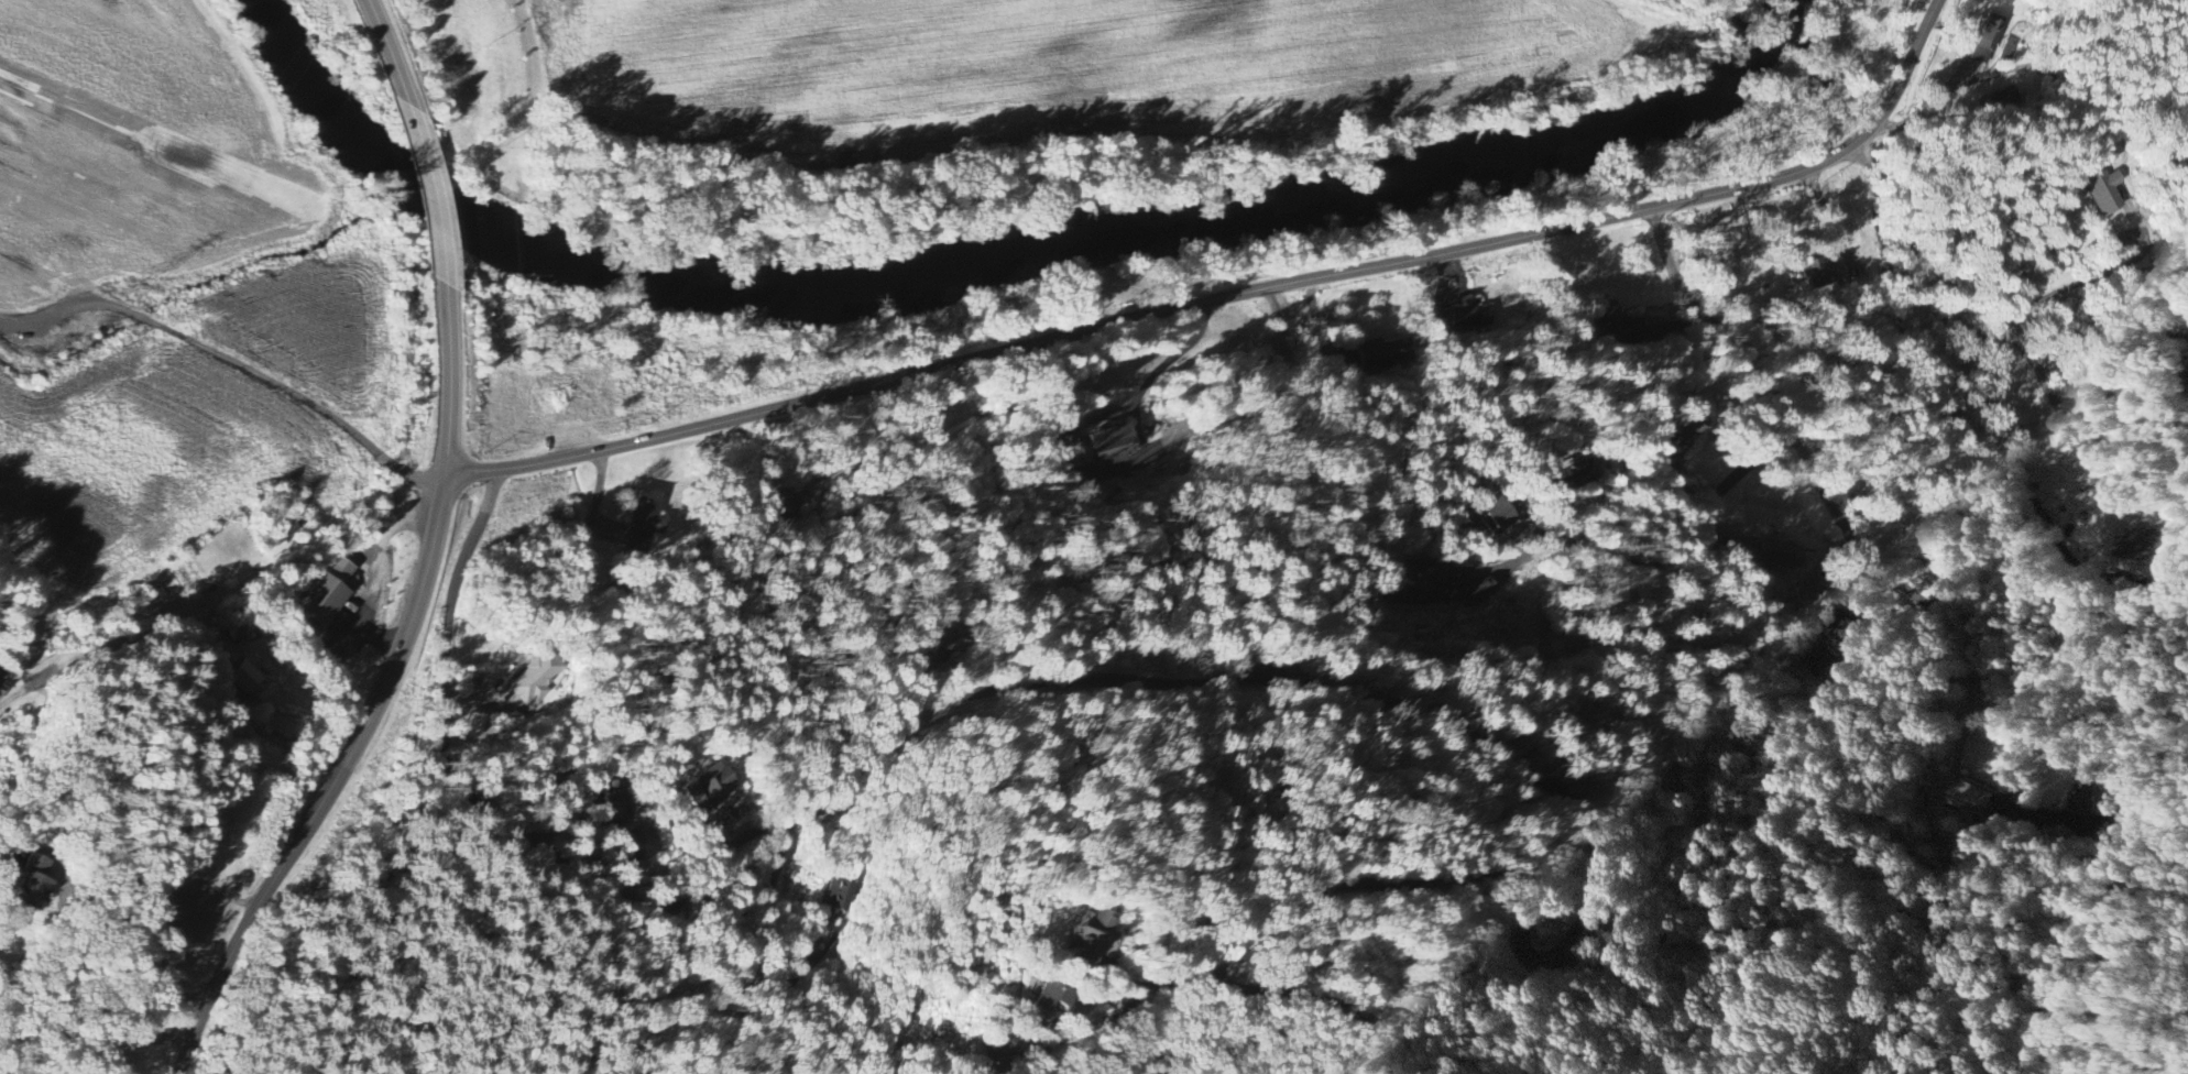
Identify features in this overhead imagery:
river: (1774, 20)
building: (1984, 40)
road: (389, 52)
road: (1928, 106)
building: (2102, 193)
road: (428, 194)
river: (977, 260)
building: (1824, 276)
power tower: (106, 280)
road: (2080, 283)
road: (1234, 295)
building: (1466, 319)
building: (1622, 328)
road: (1976, 329)
building: (1385, 353)
road: (231, 362)
road: (1155, 374)
building: (1105, 445)
building: (1571, 476)
road: (1270, 482)
building: (787, 509)
road: (1839, 514)
building: (1492, 515)
building: (647, 518)
building: (2143, 541)
road: (1676, 545)
building: (1419, 579)
building: (1480, 592)
building: (328, 594)
building: (238, 628)
building: (934, 646)
building: (1820, 655)
building: (536, 679)
road: (1233, 680)
building: (253, 683)
building: (2, 684)
road: (385, 699)
power tower: (12, 717)
building: (477, 724)
building: (709, 787)
building: (1969, 800)
building: (2083, 800)
road: (206, 808)
building: (51, 883)
building: (836, 895)
road: (105, 927)
building: (1087, 939)
road: (753, 947)
building: (1047, 1007)
road: (1123, 1007)
road: (98, 1040)
building: (1003, 1052)

